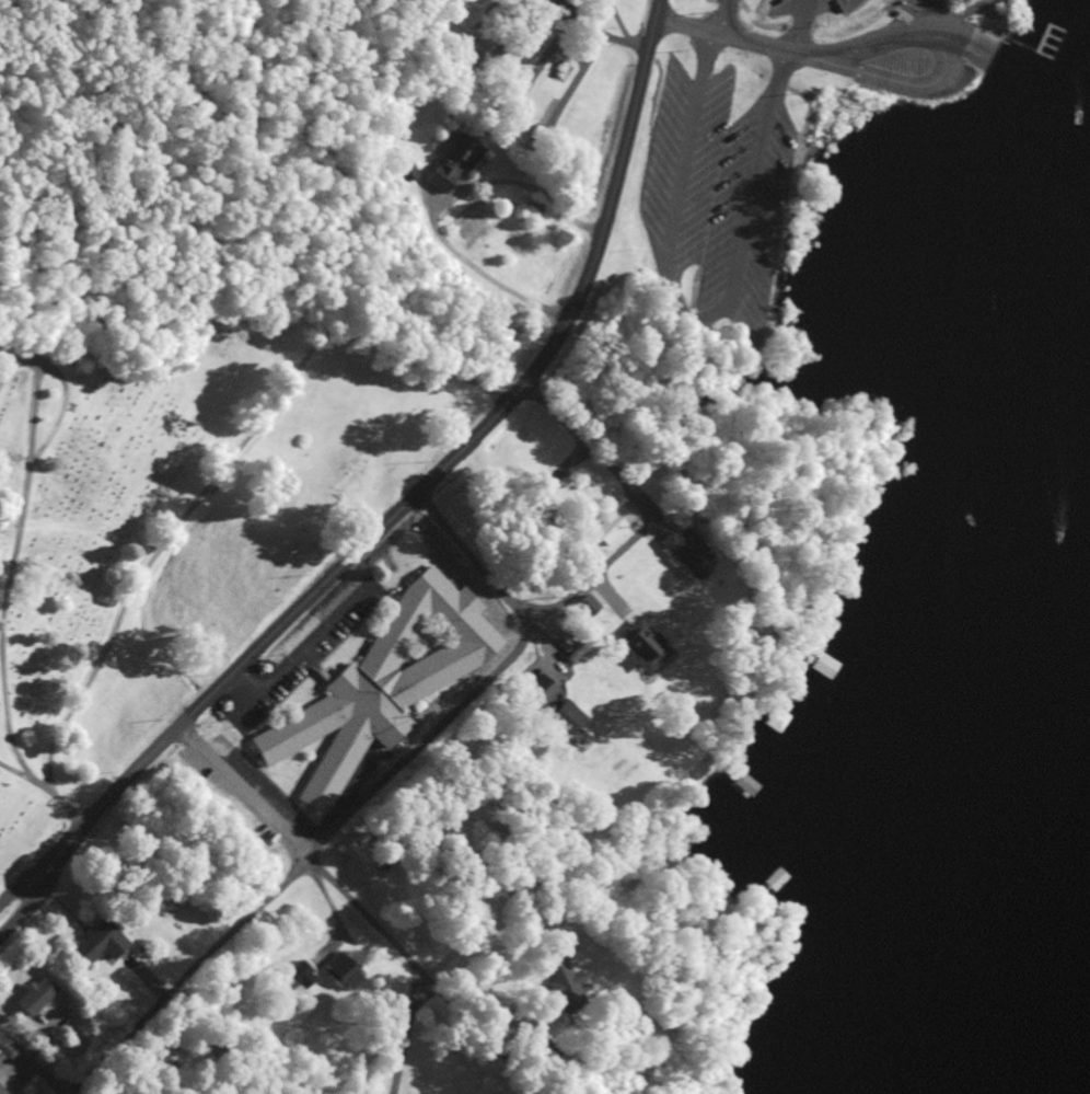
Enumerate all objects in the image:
road: (796, 26)
road: (720, 37)
road: (971, 55)
road: (959, 59)
building: (448, 163)
road: (431, 477)
road: (648, 507)
park: (177, 523)
building: (602, 531)
building: (675, 552)
road: (474, 560)
building: (815, 668)
building: (378, 686)
building: (559, 719)
building: (738, 787)
road: (304, 866)
road: (26, 888)
road: (28, 902)
road: (361, 911)
building: (95, 945)
building: (336, 971)
building: (299, 982)
building: (557, 988)
building: (31, 998)
road: (30, 1061)
building: (0, 1093)

